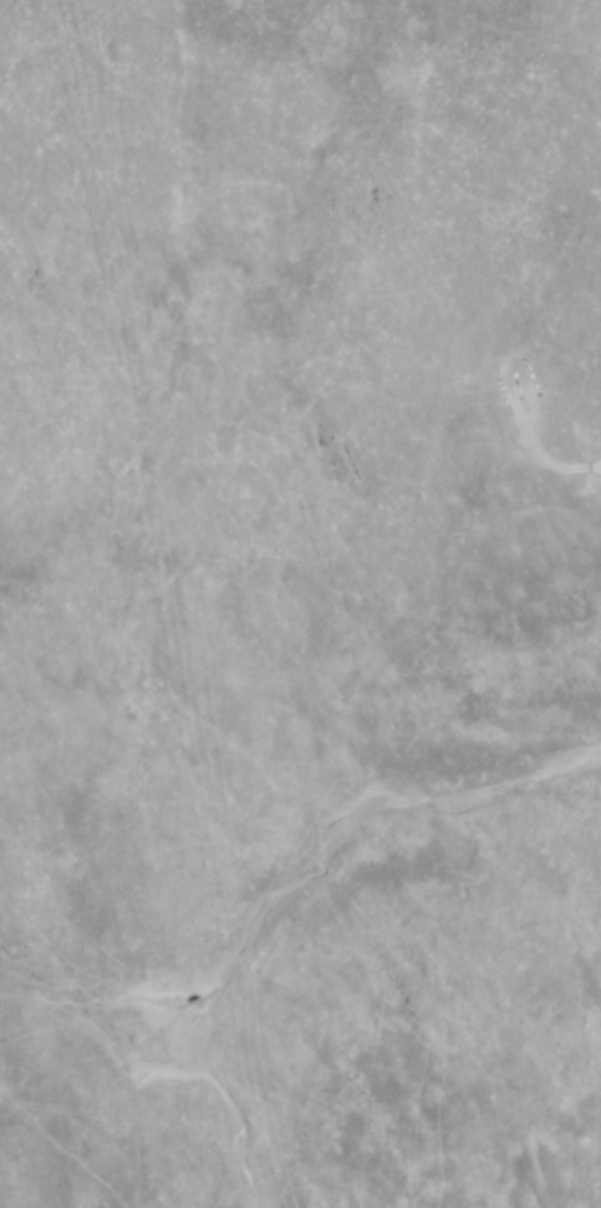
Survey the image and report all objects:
road: (183, 603)

